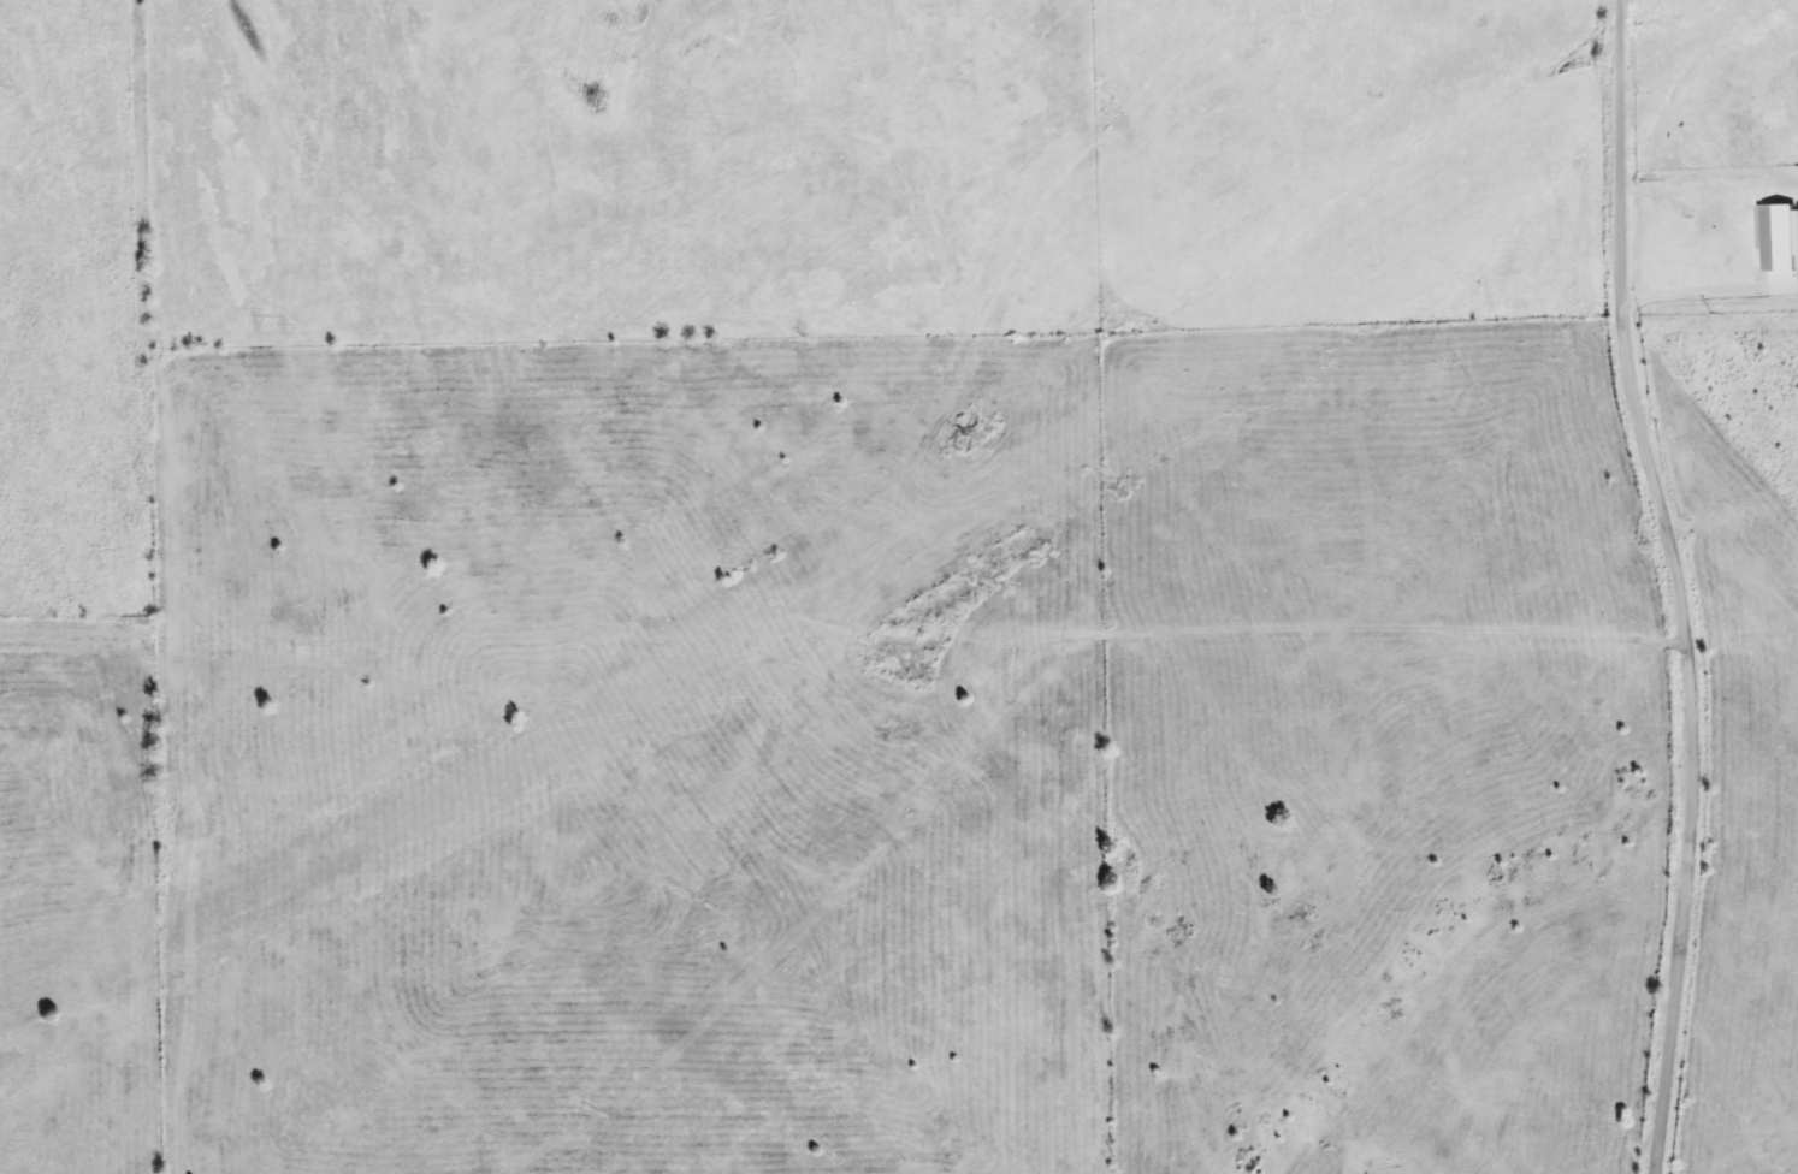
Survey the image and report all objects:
road: (1674, 585)

